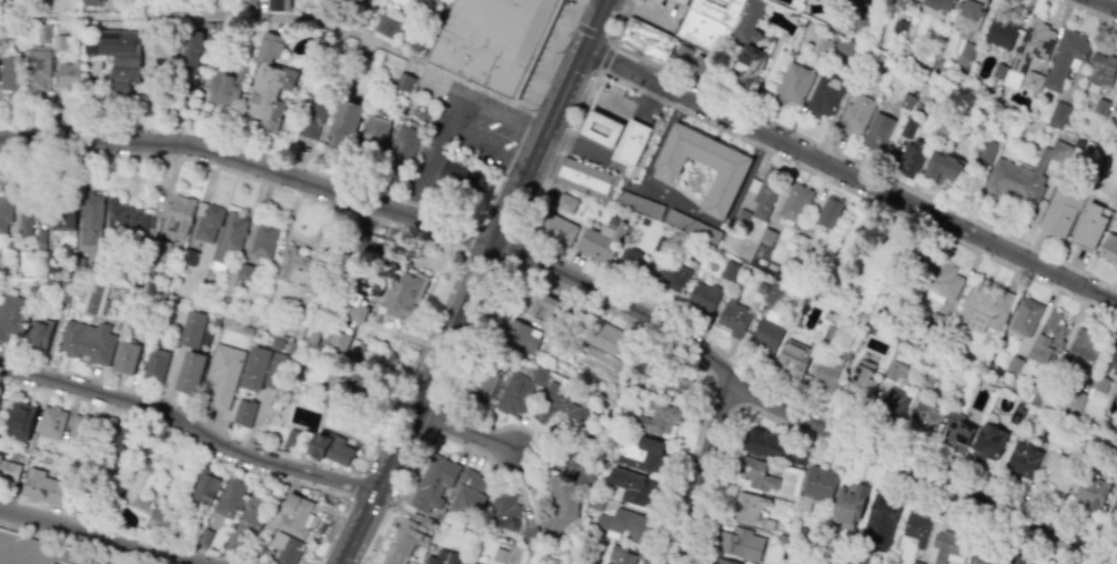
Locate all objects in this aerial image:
building: (90, 2)
building: (937, 3)
building: (246, 4)
building: (278, 4)
road: (1105, 4)
building: (717, 10)
road: (573, 11)
road: (1086, 11)
building: (968, 14)
road: (288, 20)
building: (386, 26)
building: (897, 26)
building: (703, 31)
building: (999, 31)
road: (590, 32)
building: (646, 40)
building: (493, 41)
building: (746, 47)
building: (823, 47)
building: (269, 48)
building: (843, 48)
traffic signals: (584, 49)
building: (1028, 49)
building: (682, 53)
building: (965, 53)
building: (121, 57)
building: (1064, 58)
road: (605, 59)
building: (190, 60)
building: (700, 61)
building: (1101, 67)
building: (40, 68)
building: (9, 71)
building: (998, 71)
building: (68, 75)
building: (1032, 80)
building: (792, 83)
building: (225, 87)
building: (270, 94)
building: (822, 99)
building: (906, 101)
building: (1100, 105)
building: (1113, 111)
building: (855, 113)
building: (1058, 113)
building: (311, 118)
building: (343, 122)
building: (907, 127)
building: (601, 129)
parking lot: (461, 130)
building: (877, 131)
building: (375, 132)
road: (515, 142)
building: (631, 142)
building: (1078, 143)
building: (403, 144)
building: (986, 151)
road: (843, 155)
building: (909, 159)
road: (250, 162)
building: (940, 163)
building: (729, 169)
road: (849, 173)
building: (1020, 174)
road: (550, 178)
building: (585, 179)
building: (462, 180)
building: (765, 194)
road: (857, 195)
building: (565, 202)
building: (794, 203)
building: (641, 204)
road: (681, 207)
building: (4, 210)
building: (829, 210)
building: (1058, 211)
building: (179, 214)
building: (125, 215)
building: (741, 216)
building: (62, 218)
building: (91, 219)
building: (26, 220)
building: (207, 222)
building: (1089, 225)
building: (555, 228)
building: (802, 235)
building: (230, 236)
building: (766, 236)
building: (40, 239)
building: (263, 240)
building: (601, 241)
building: (1108, 248)
road: (516, 251)
building: (695, 254)
building: (189, 256)
building: (632, 262)
building: (296, 266)
building: (728, 270)
building: (238, 272)
building: (672, 275)
building: (939, 278)
road: (473, 282)
building: (761, 286)
building: (404, 291)
building: (773, 293)
building: (702, 298)
building: (93, 299)
building: (541, 306)
road: (606, 310)
building: (984, 310)
building: (10, 314)
building: (1025, 315)
building: (732, 316)
building: (934, 325)
building: (192, 329)
building: (37, 333)
building: (828, 333)
building: (516, 334)
building: (765, 336)
building: (605, 338)
building: (1047, 338)
building: (87, 341)
building: (339, 341)
building: (352, 345)
building: (1080, 351)
building: (125, 356)
building: (792, 359)
building: (1114, 363)
building: (1014, 364)
building: (154, 365)
building: (261, 369)
building: (895, 370)
building: (831, 371)
building: (190, 372)
building: (223, 374)
building: (861, 379)
building: (1116, 380)
building: (673, 381)
building: (925, 381)
road: (456, 382)
building: (1099, 384)
building: (483, 385)
building: (519, 392)
building: (1037, 392)
building: (1074, 397)
building: (892, 403)
building: (556, 404)
building: (243, 412)
building: (1016, 414)
road: (795, 415)
building: (924, 417)
building: (656, 419)
road: (832, 420)
building: (20, 421)
building: (51, 421)
road: (439, 422)
road: (190, 423)
building: (77, 427)
road: (463, 431)
building: (956, 431)
building: (117, 437)
building: (763, 442)
building: (986, 443)
road: (463, 445)
building: (331, 449)
road: (838, 450)
building: (641, 453)
building: (1022, 459)
building: (568, 461)
road: (687, 463)
road: (702, 469)
building: (9, 471)
building: (1116, 471)
road: (523, 472)
building: (755, 473)
building: (1059, 474)
building: (434, 483)
building: (819, 483)
building: (205, 486)
building: (630, 486)
building: (44, 487)
building: (138, 489)
building: (1091, 493)
building: (469, 494)
road: (400, 498)
building: (230, 500)
building: (561, 506)
building: (847, 506)
building: (1114, 506)
building: (503, 510)
building: (751, 510)
building: (252, 514)
building: (291, 516)
building: (157, 522)
building: (621, 522)
building: (879, 522)
building: (916, 526)
road: (100, 536)
building: (733, 540)
building: (405, 541)
building: (2, 545)
building: (285, 547)
building: (621, 554)
building: (503, 555)
building: (443, 557)
building: (1013, 563)

